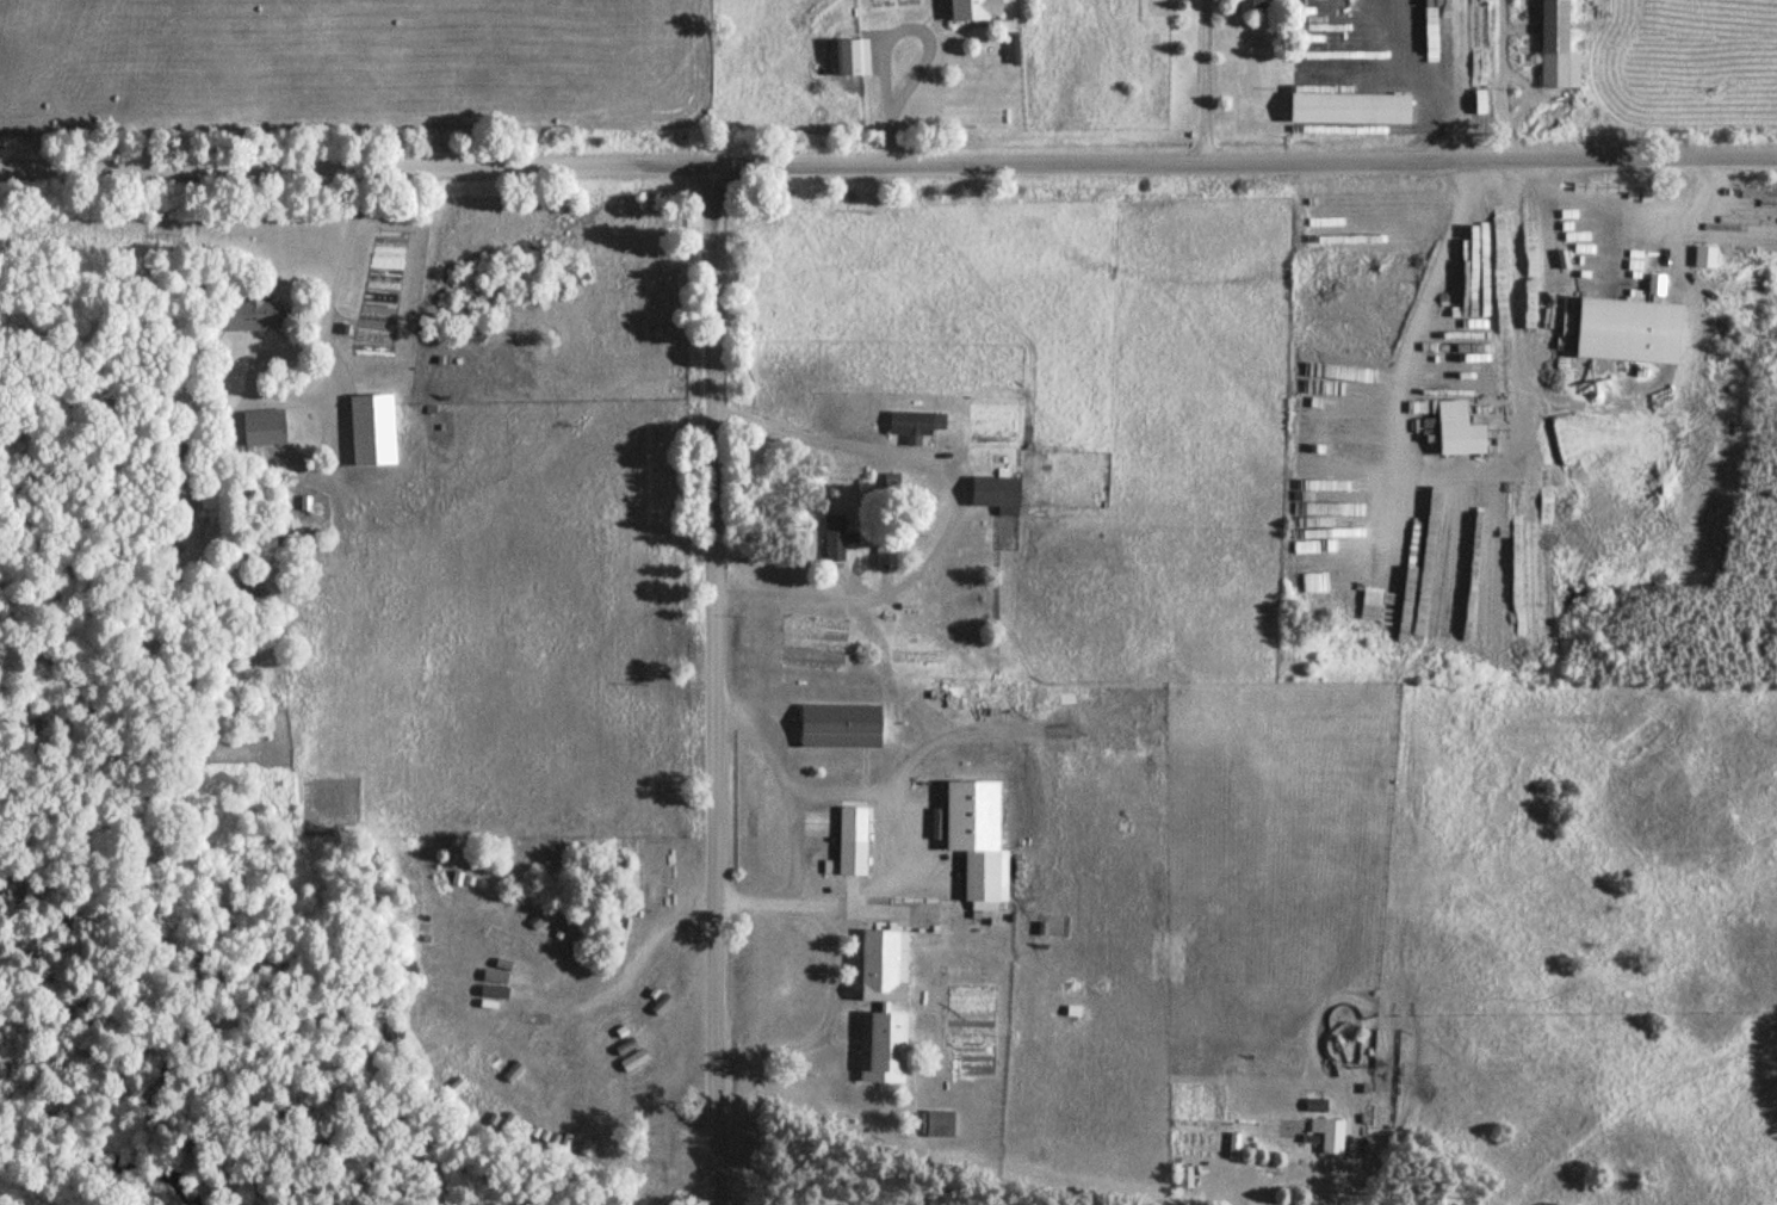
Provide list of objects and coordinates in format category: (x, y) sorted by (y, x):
building: (1245, 4)
building: (972, 8)
building: (1010, 48)
building: (1554, 49)
building: (849, 56)
building: (1345, 109)
road: (1232, 180)
road: (343, 184)
building: (1702, 255)
building: (248, 313)
building: (1606, 320)
building: (911, 426)
building: (262, 427)
building: (1454, 430)
building: (993, 492)
building: (832, 539)
building: (886, 556)
road: (702, 694)
building: (837, 725)
building: (849, 841)
building: (983, 879)
building: (891, 940)
building: (928, 1074)
building: (936, 1124)
building: (1330, 1137)

